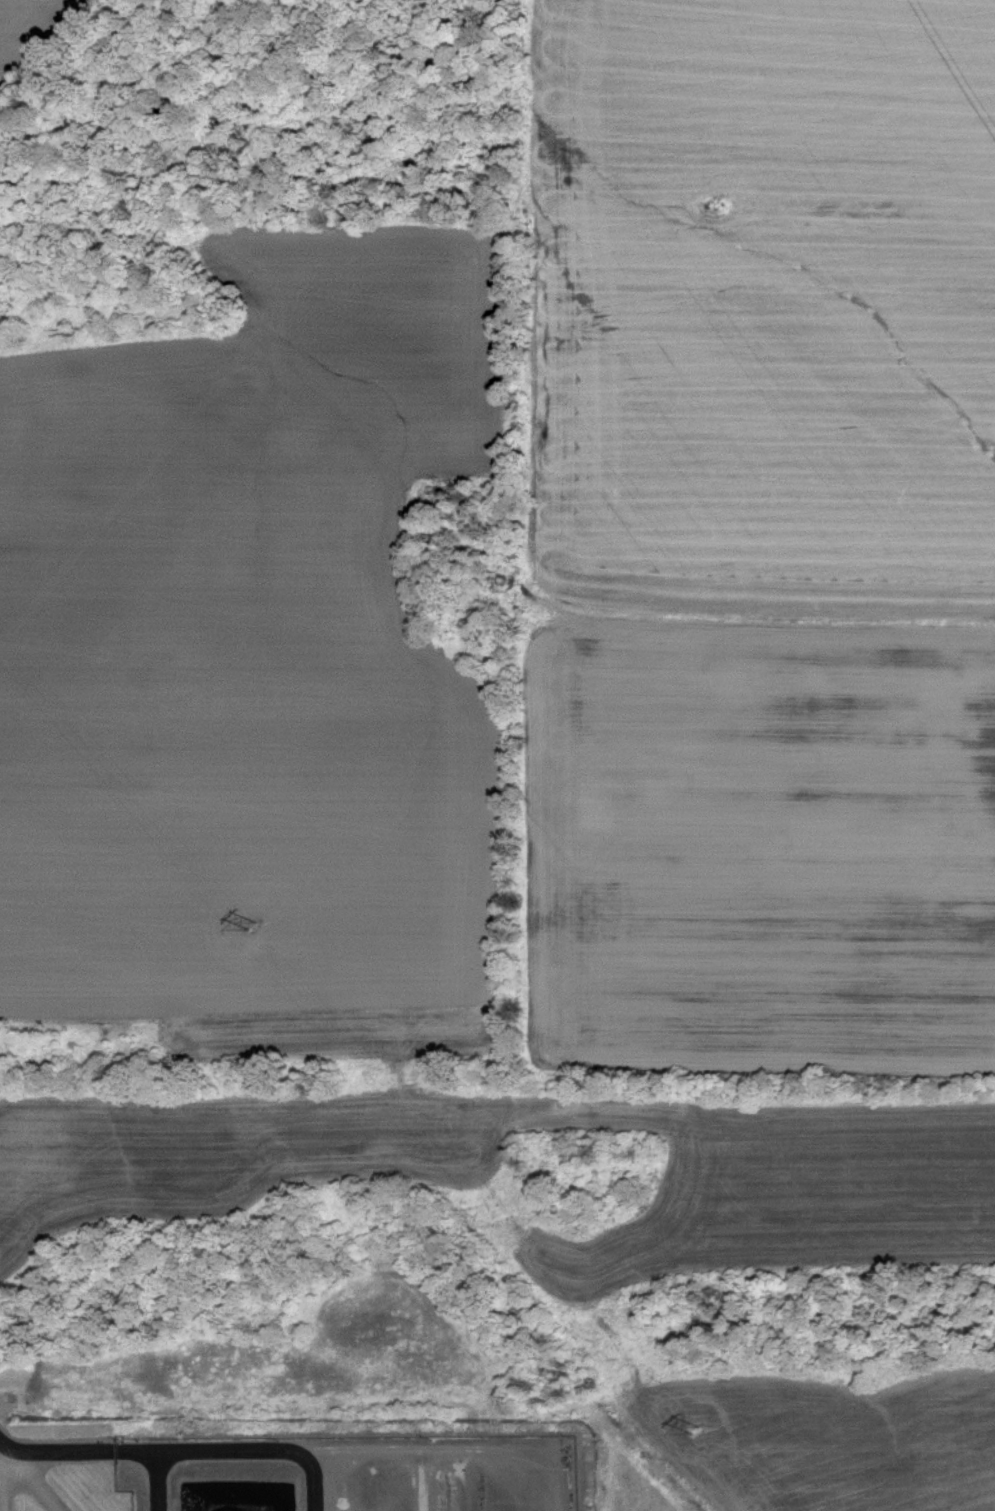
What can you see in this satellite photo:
road: (78, 1446)
road: (230, 1450)
road: (7, 1452)
power plant: (348, 1471)
road: (3, 1484)
road: (34, 1485)

